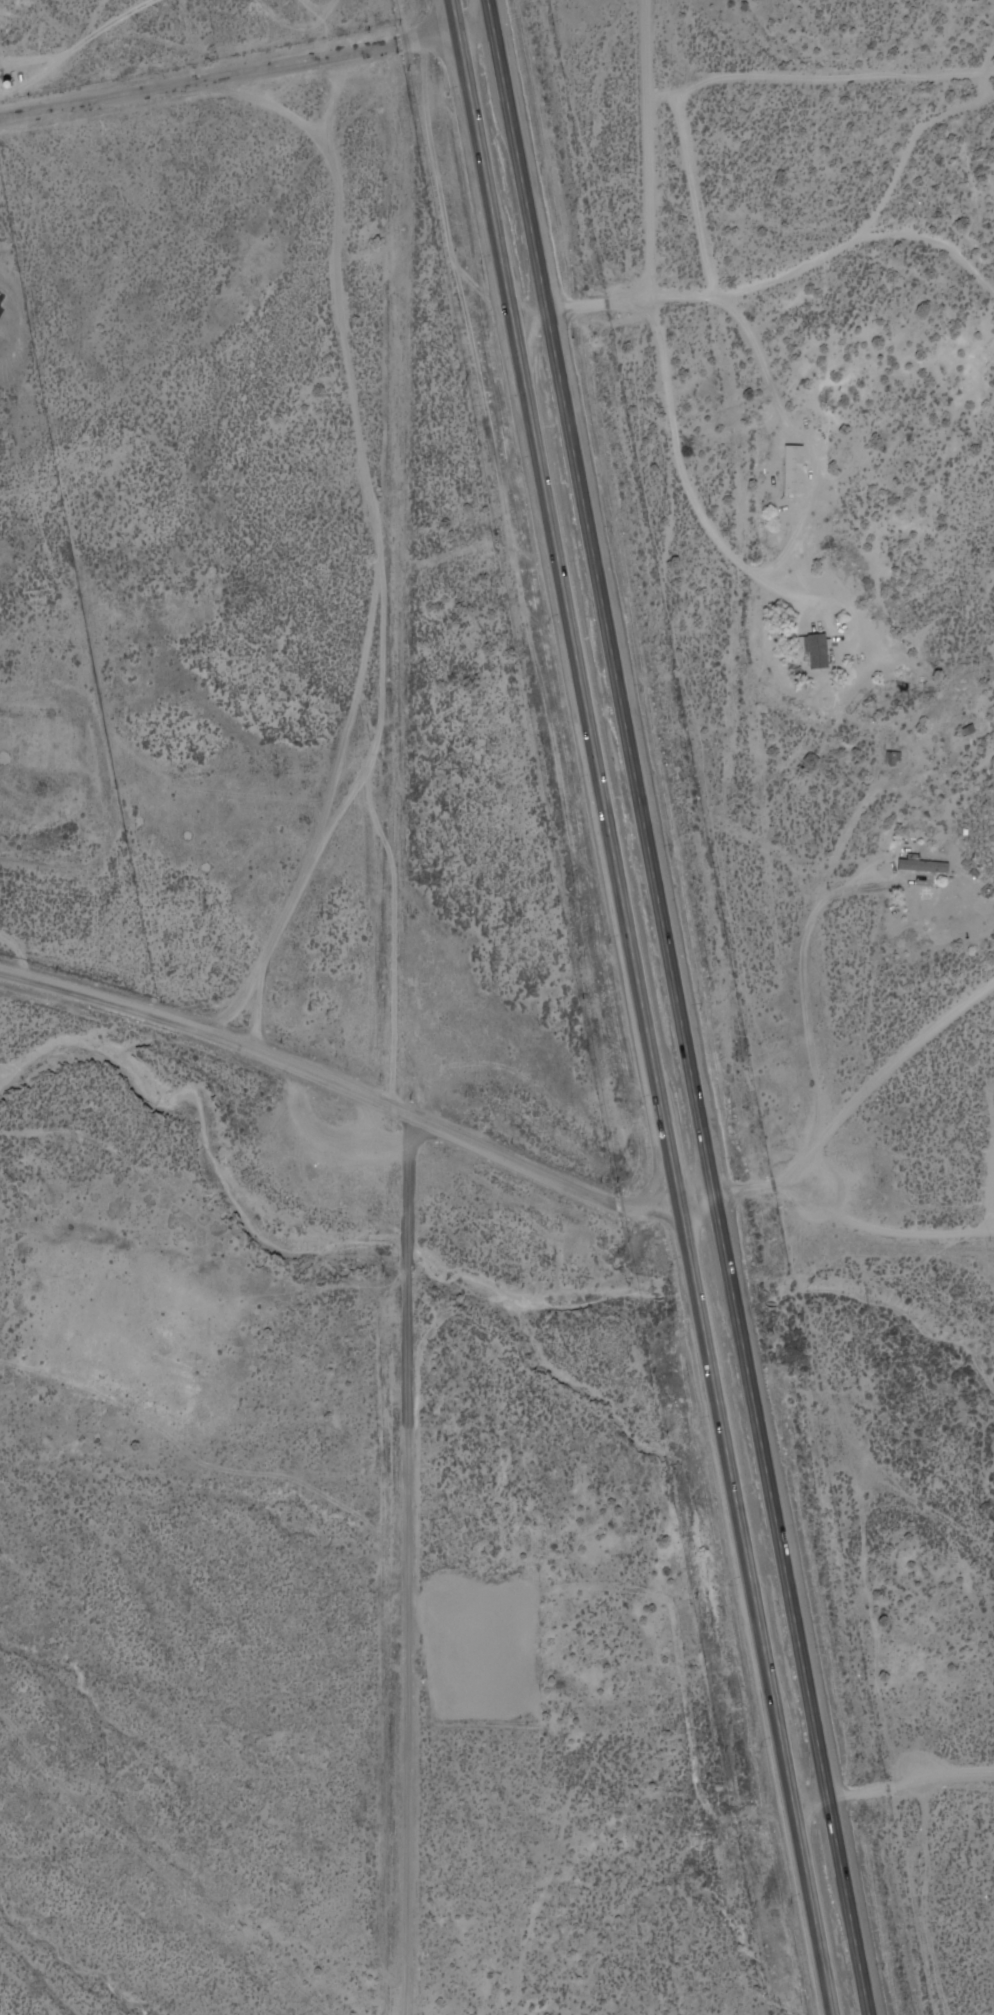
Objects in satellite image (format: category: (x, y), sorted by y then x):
road: (247, 72)
road: (659, 150)
road: (862, 248)
road: (608, 304)
building: (794, 470)
building: (818, 648)
road: (680, 1006)
road: (641, 1007)
road: (359, 1092)
road: (885, 1101)
road: (855, 1214)
road: (408, 1564)
road: (851, 1797)

